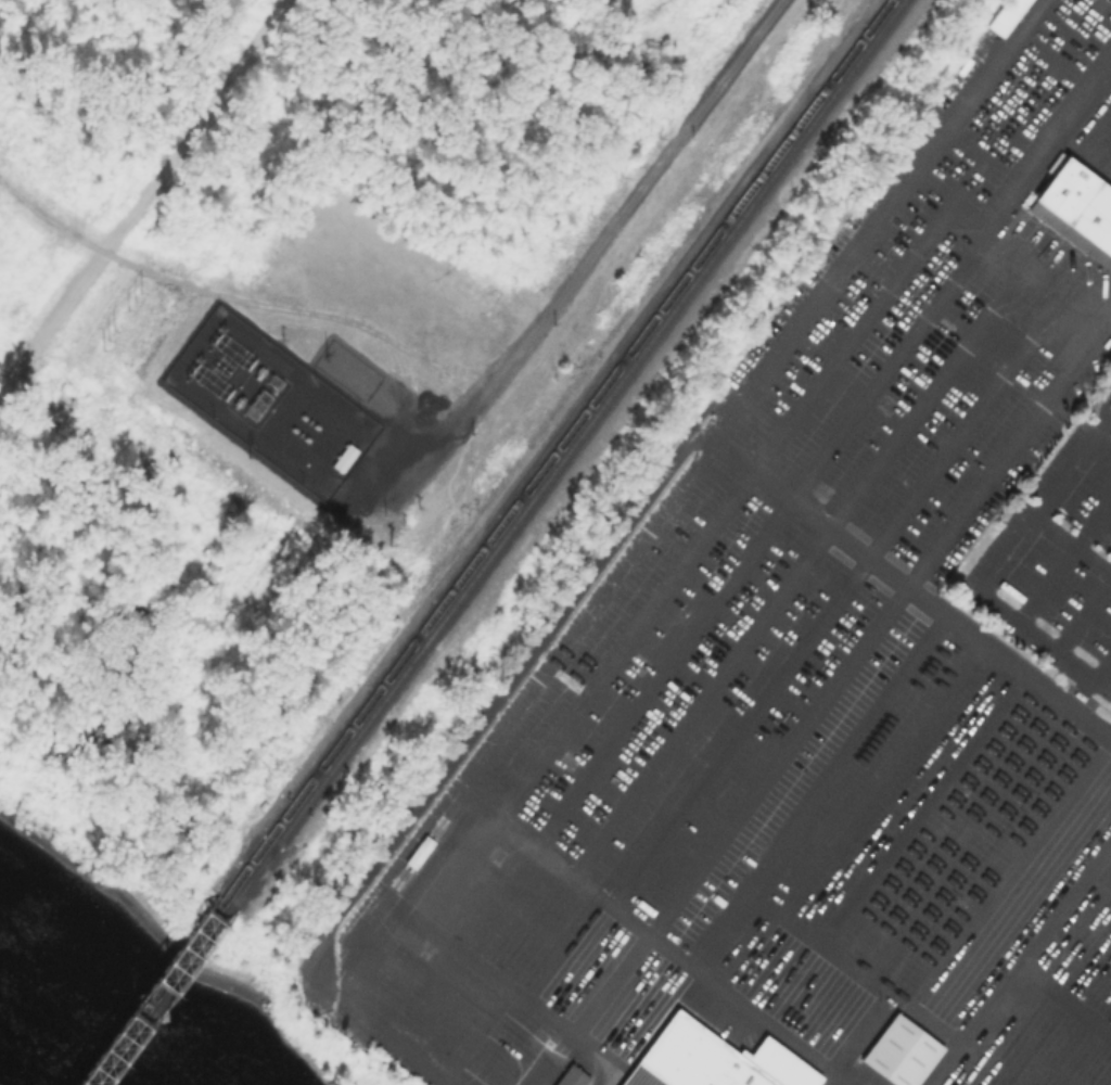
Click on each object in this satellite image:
building: (1005, 15)
road: (1052, 135)
road: (165, 171)
building: (1076, 208)
road: (968, 218)
road: (877, 220)
road: (929, 235)
road: (982, 245)
road: (593, 251)
power substation: (347, 369)
road: (876, 386)
power substation: (271, 399)
road: (567, 406)
road: (1107, 409)
railway: (553, 448)
railway: (564, 452)
road: (986, 564)
road: (621, 565)
railway: (257, 848)
railway: (269, 853)
road: (650, 937)
road: (1019, 962)
railway: (152, 992)
railway: (162, 995)
road: (1065, 997)
building: (548, 1042)
building: (899, 1050)
building: (712, 1059)
building: (571, 1075)

